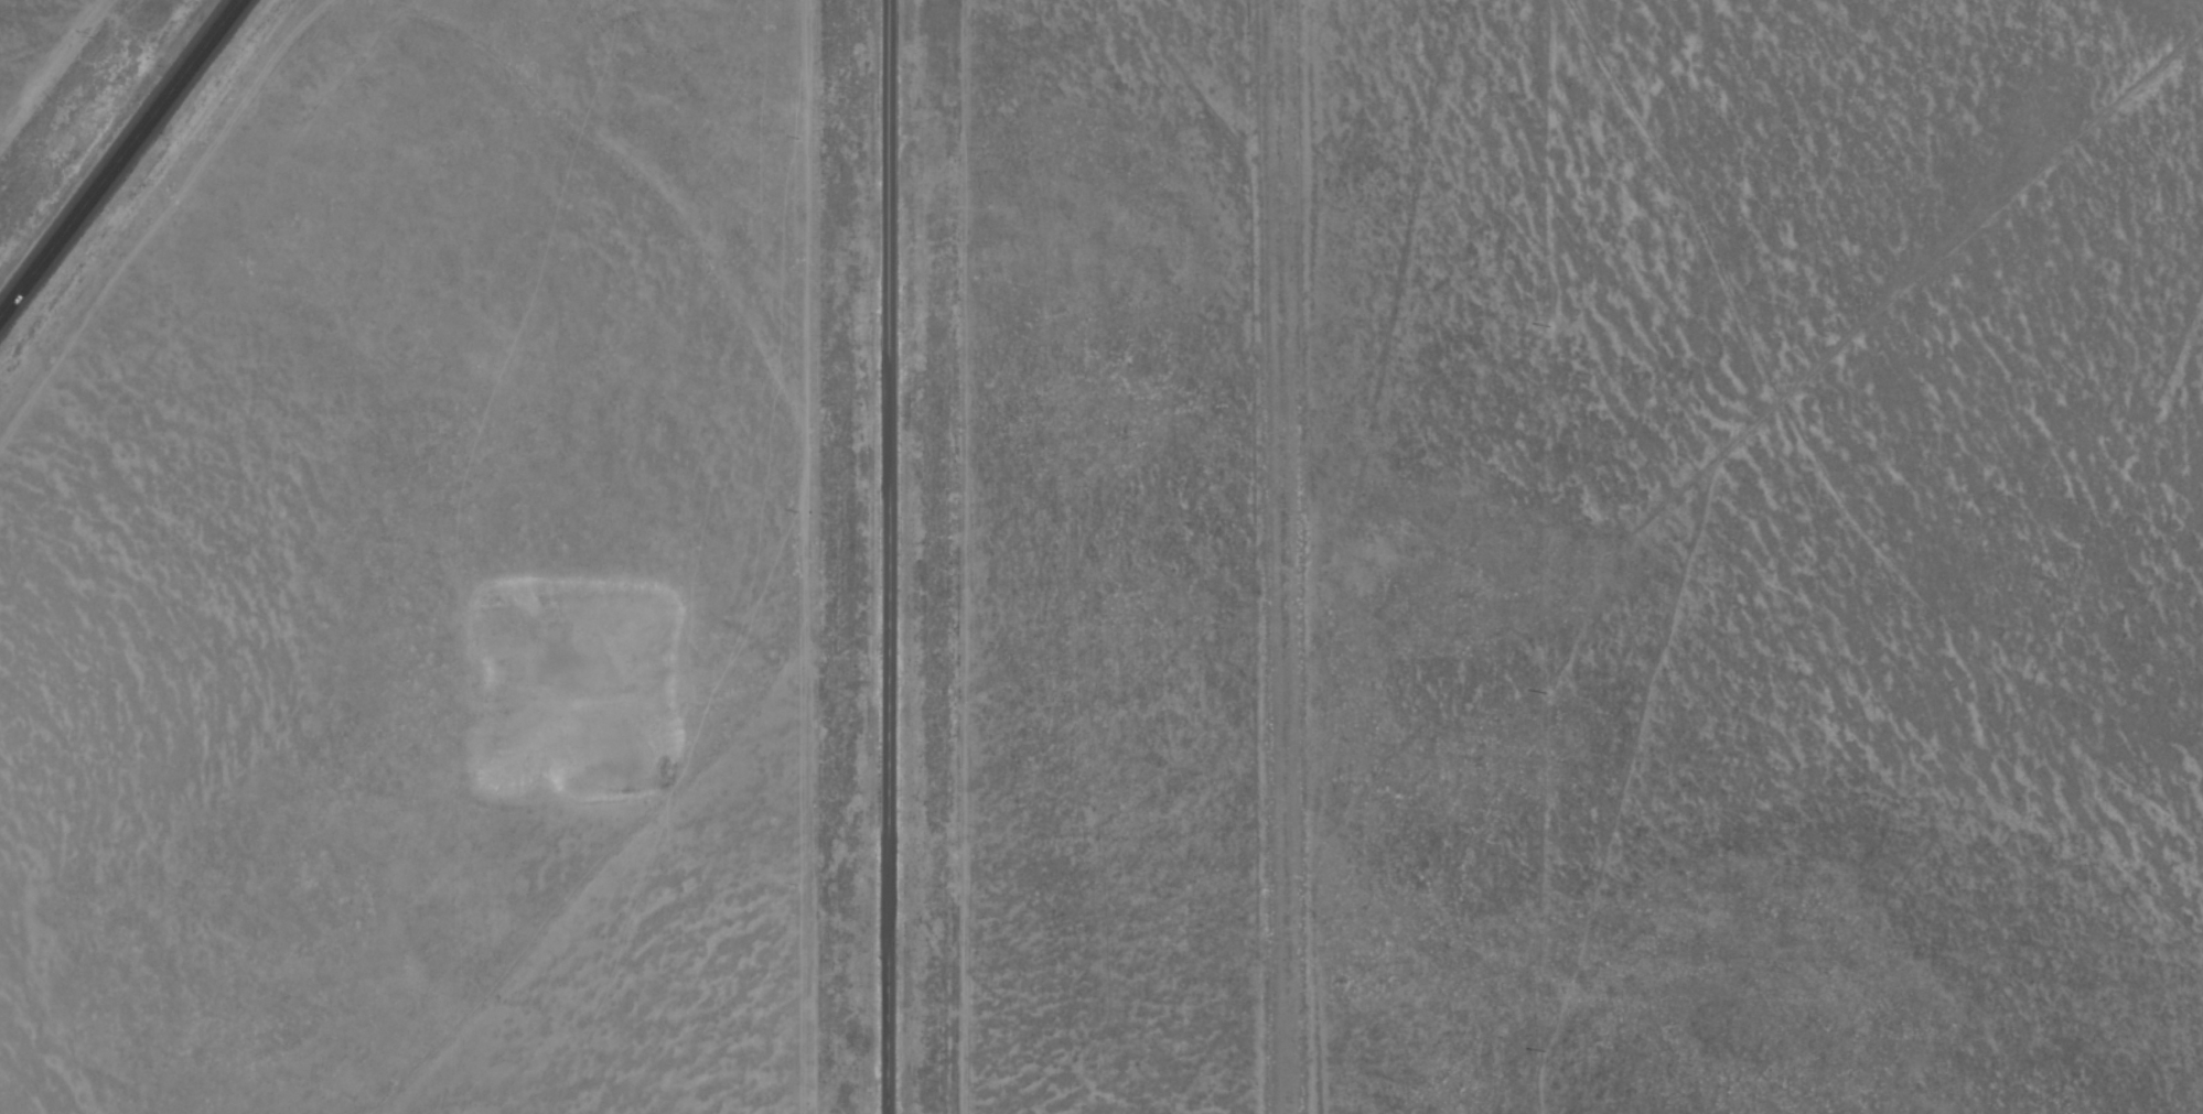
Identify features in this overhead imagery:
road: (119, 158)
road: (886, 556)
road: (1332, 556)

